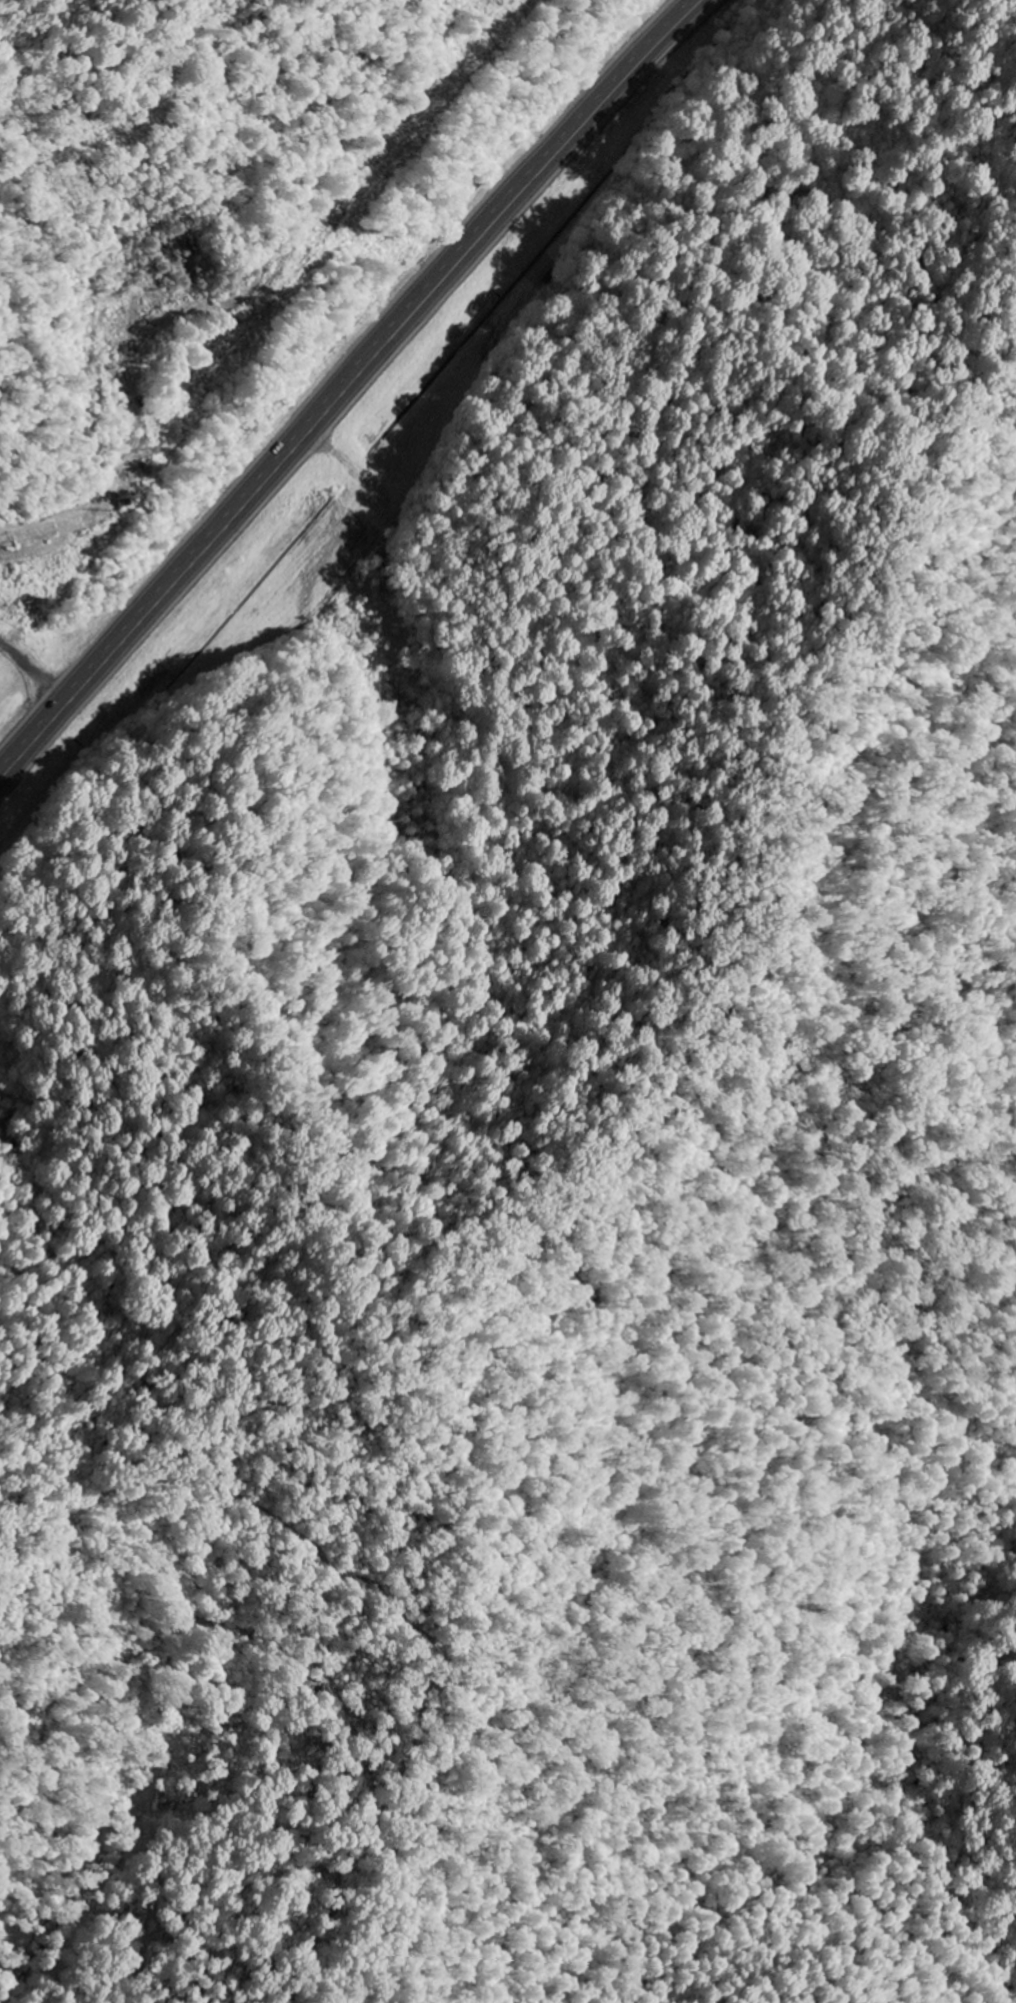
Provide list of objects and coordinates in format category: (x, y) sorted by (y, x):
road: (348, 383)

